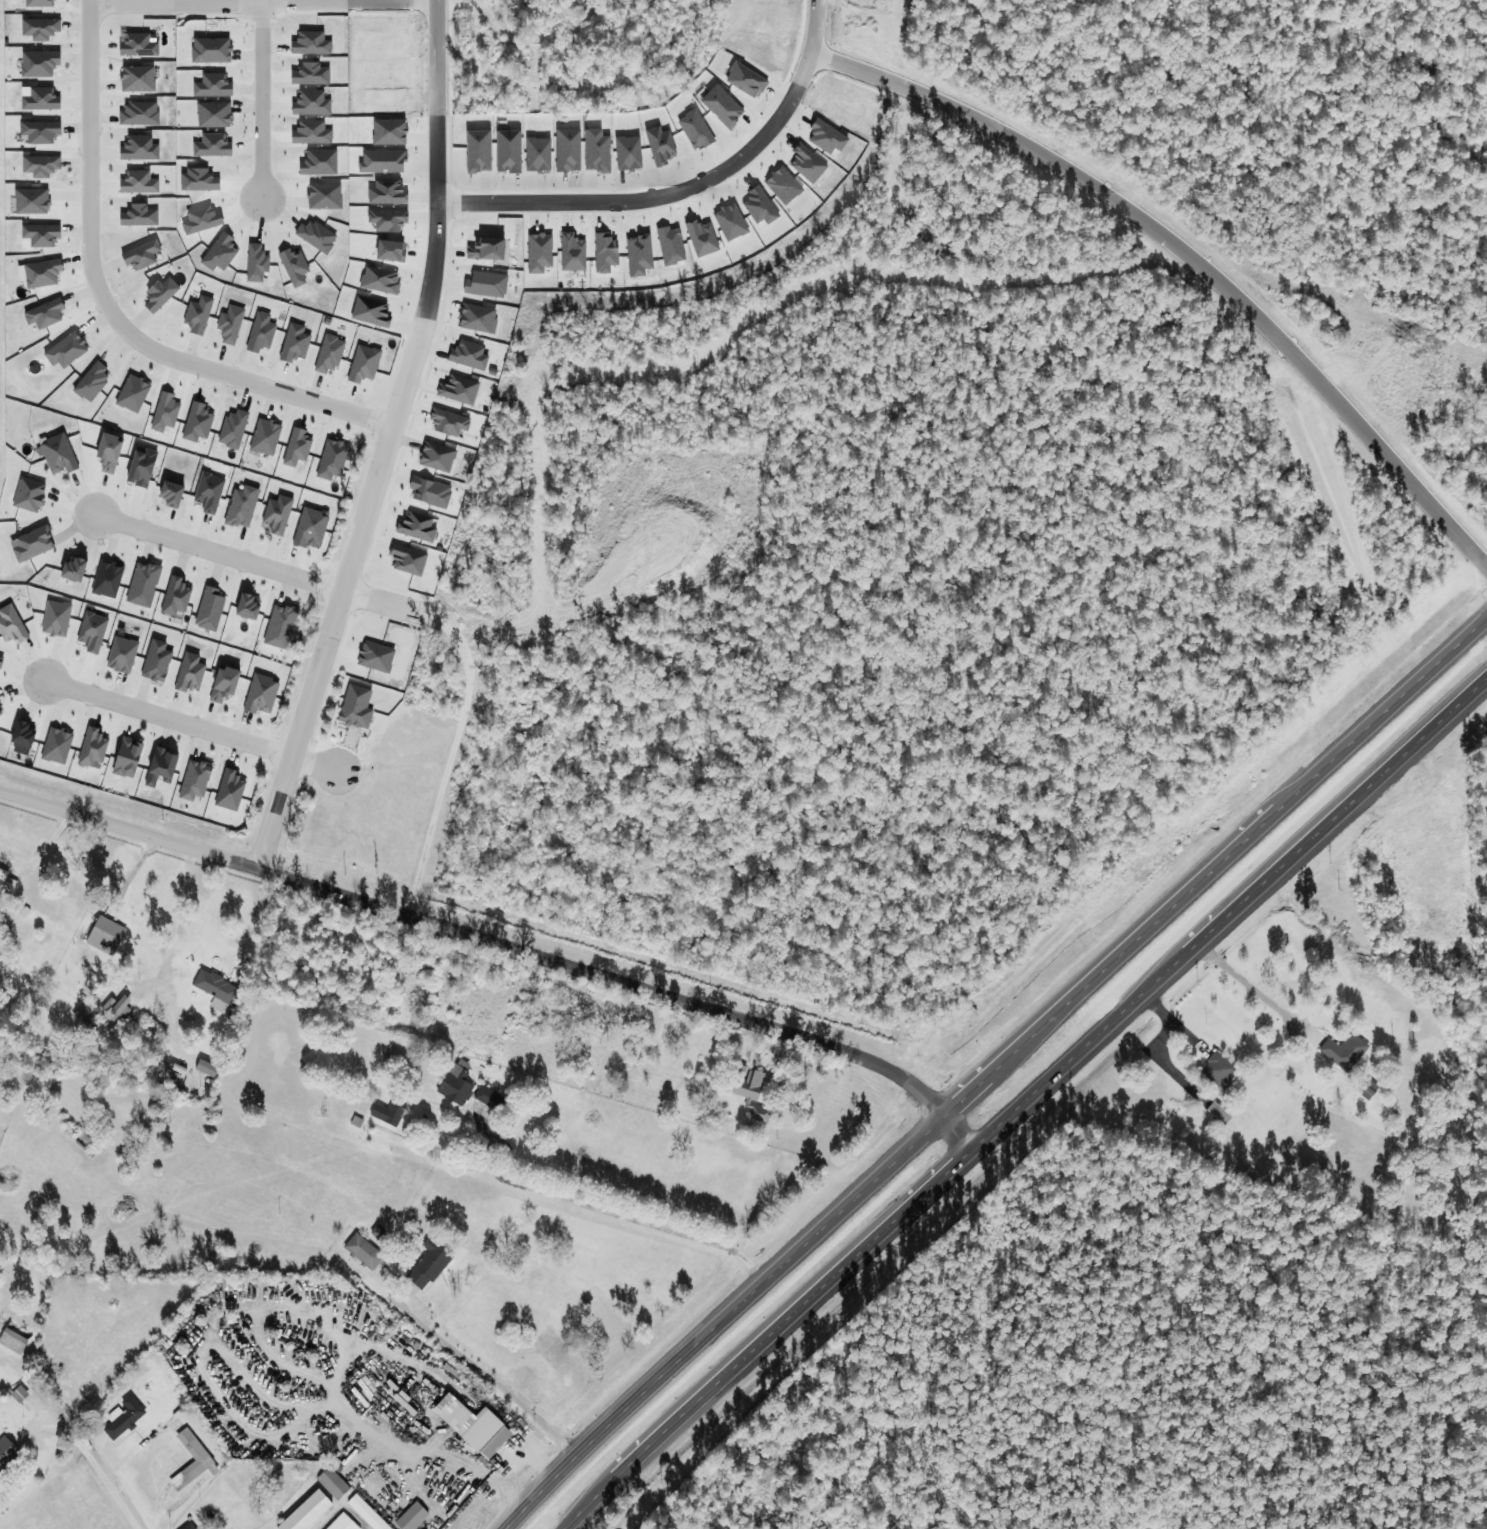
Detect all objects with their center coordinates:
road: (113, 0)
road: (303, 1)
road: (264, 99)
road: (643, 200)
road: (439, 211)
road: (105, 309)
road: (259, 563)
road: (342, 585)
road: (189, 723)
building: (1447, 818)
building: (1419, 846)
building: (1388, 860)
building: (3, 875)
building: (106, 937)
road: (495, 945)
building: (218, 991)
building: (121, 1008)
building: (1346, 1052)
road: (992, 1067)
building: (209, 1069)
building: (1218, 1071)
building: (458, 1085)
building: (754, 1091)
road: (1019, 1096)
building: (490, 1099)
building: (390, 1113)
building: (215, 1250)
road: (317, 1250)
building: (365, 1252)
building: (429, 1264)
building: (14, 1337)
building: (21, 1396)
building: (126, 1418)
building: (488, 1434)
building: (196, 1449)
road: (85, 1452)
building: (8, 1454)
building: (335, 1484)
building: (311, 1512)
building: (368, 1514)
road: (145, 1516)
building: (414, 1518)
building: (341, 1524)
building: (191, 1527)

